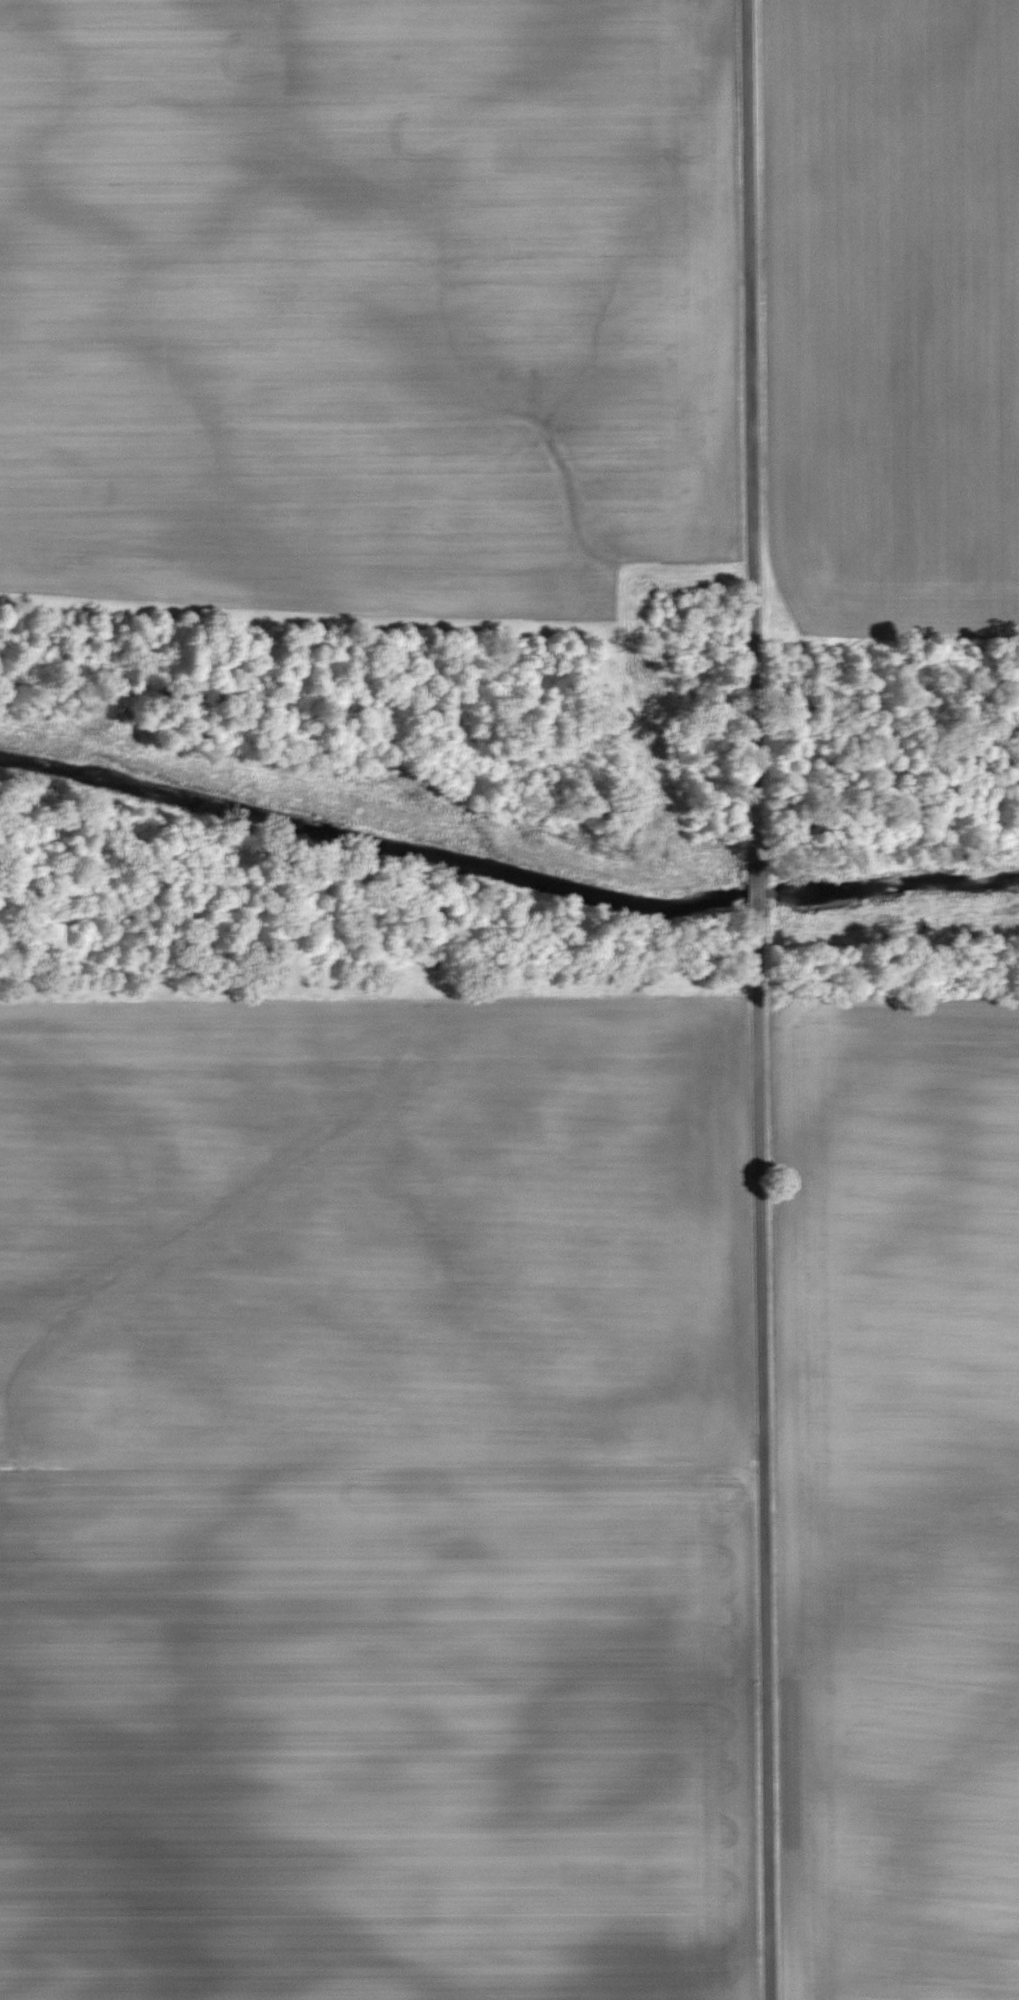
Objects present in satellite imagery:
road: (757, 999)

